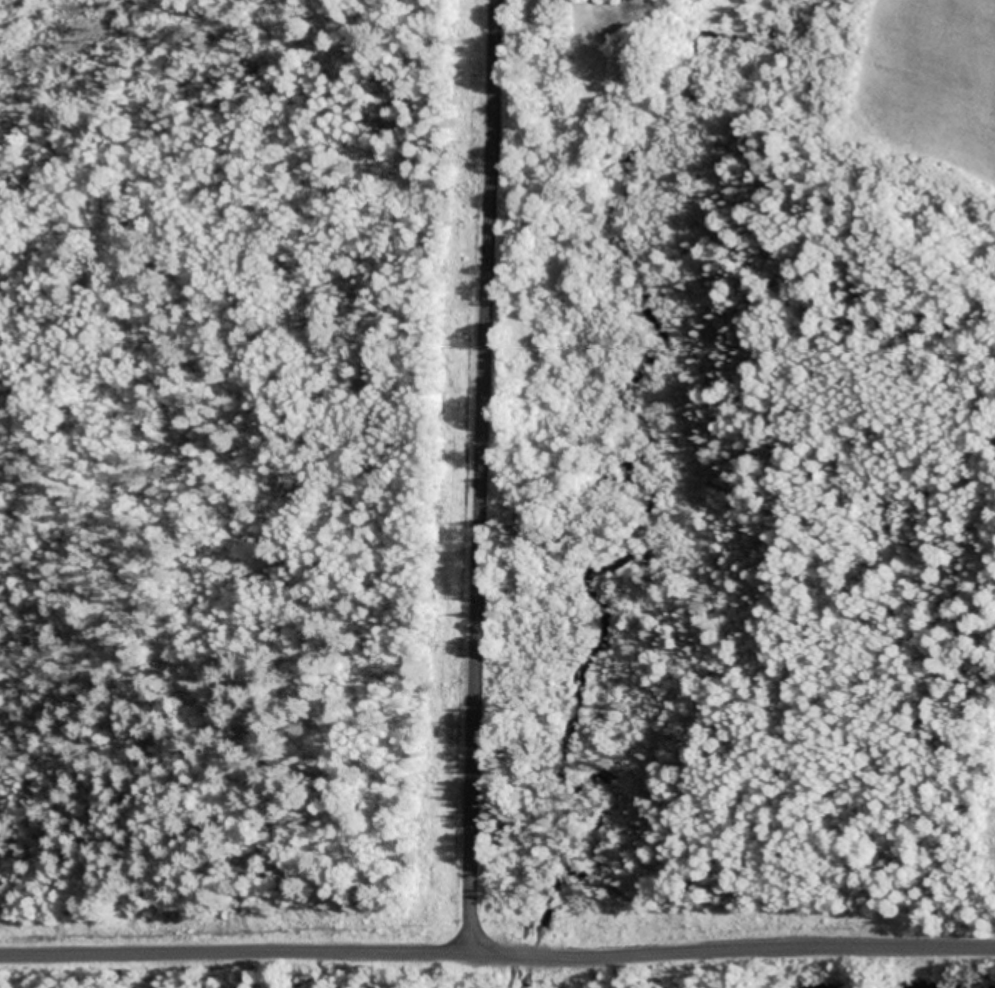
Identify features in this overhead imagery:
road: (486, 463)
building: (545, 934)
road: (238, 955)
road: (722, 959)

